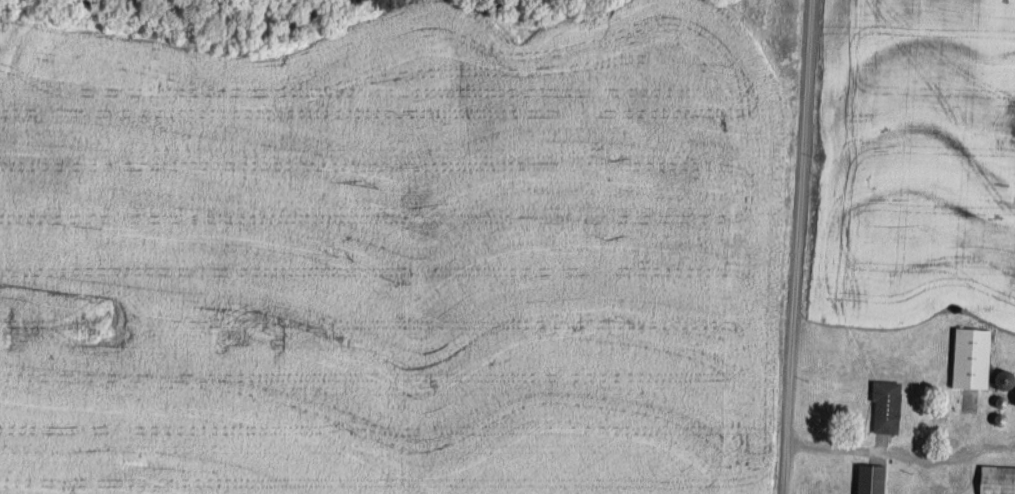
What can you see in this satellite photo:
road: (797, 247)
building: (975, 358)
building: (1007, 379)
building: (890, 407)
road: (777, 439)
building: (874, 479)
building: (999, 480)

